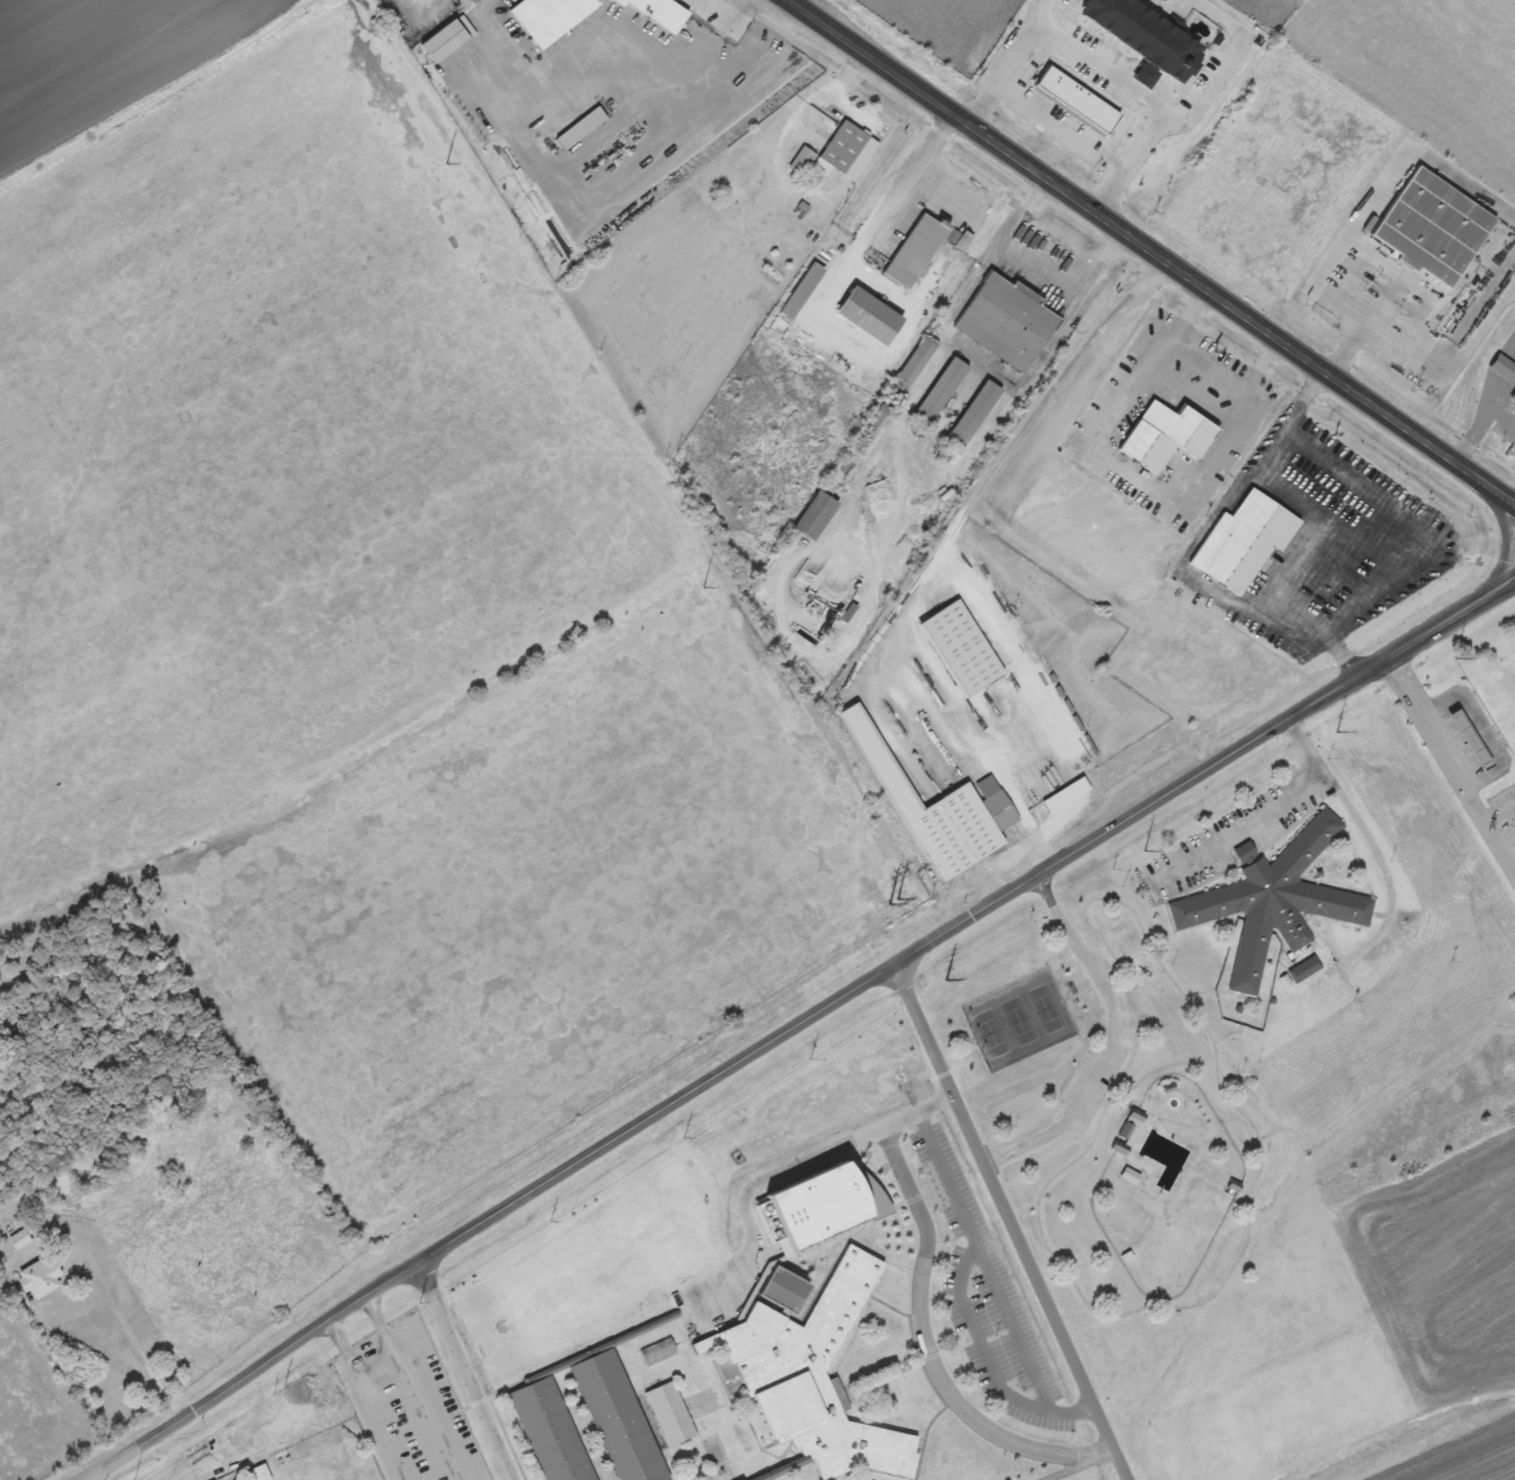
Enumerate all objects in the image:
building: (547, 23)
building: (1147, 33)
building: (445, 41)
building: (1147, 75)
building: (1078, 98)
building: (581, 128)
building: (832, 152)
power tower: (446, 162)
building: (1435, 227)
building: (835, 243)
building: (916, 250)
road: (1154, 251)
building: (797, 298)
building: (871, 315)
building: (1008, 321)
building: (913, 367)
building: (1504, 368)
building: (941, 391)
building: (1513, 398)
building: (975, 414)
building: (871, 428)
building: (1167, 436)
building: (817, 515)
road: (1502, 531)
building: (1244, 541)
power tower: (702, 586)
road: (1489, 597)
building: (961, 648)
power tower: (1454, 658)
power tower: (1336, 731)
road: (1450, 764)
building: (1066, 795)
building: (940, 809)
power tower: (1143, 850)
building: (1245, 853)
power tower: (894, 900)
building: (1275, 902)
building: (1304, 970)
power tower: (945, 980)
road: (825, 1005)
road: (916, 1114)
building: (1127, 1133)
road: (748, 1191)
building: (811, 1219)
road: (1007, 1222)
building: (20, 1239)
road: (982, 1263)
building: (40, 1277)
parking lot: (986, 1300)
road: (924, 1336)
building: (657, 1351)
road: (988, 1364)
building: (812, 1369)
road: (464, 1371)
road: (408, 1387)
road: (367, 1398)
parking lot: (408, 1405)
building: (670, 1412)
building: (617, 1417)
building: (549, 1430)
stadium: (316, 1458)
road: (111, 1462)
road: (1075, 1463)
building: (260, 1473)
road: (96, 1476)

